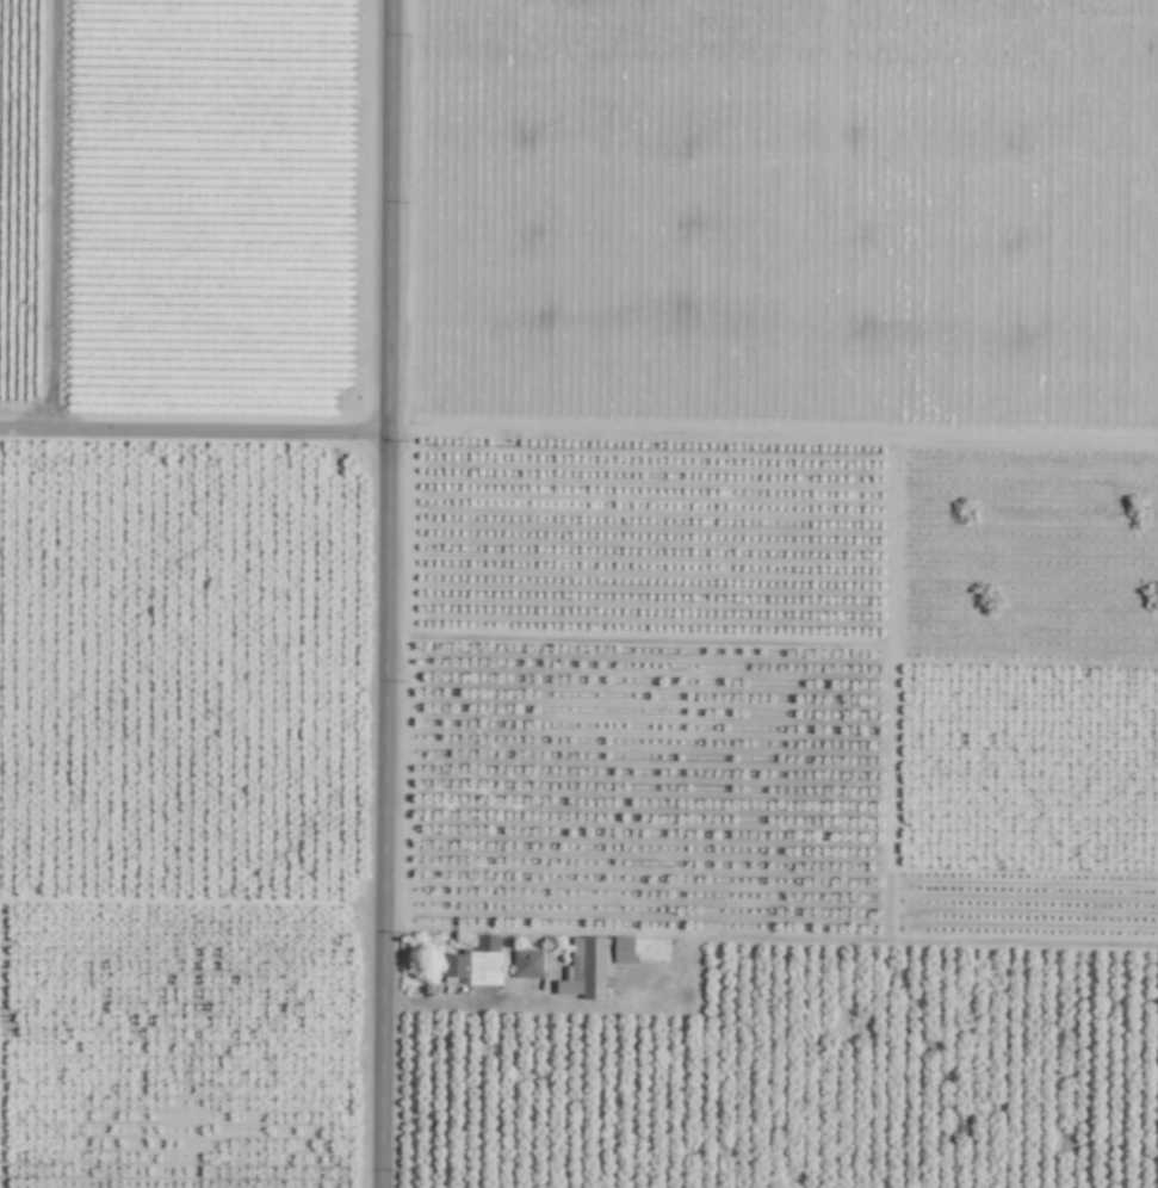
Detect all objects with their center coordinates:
road: (192, 429)
road: (384, 594)
building: (621, 949)
road: (688, 955)
building: (472, 964)
building: (526, 964)

